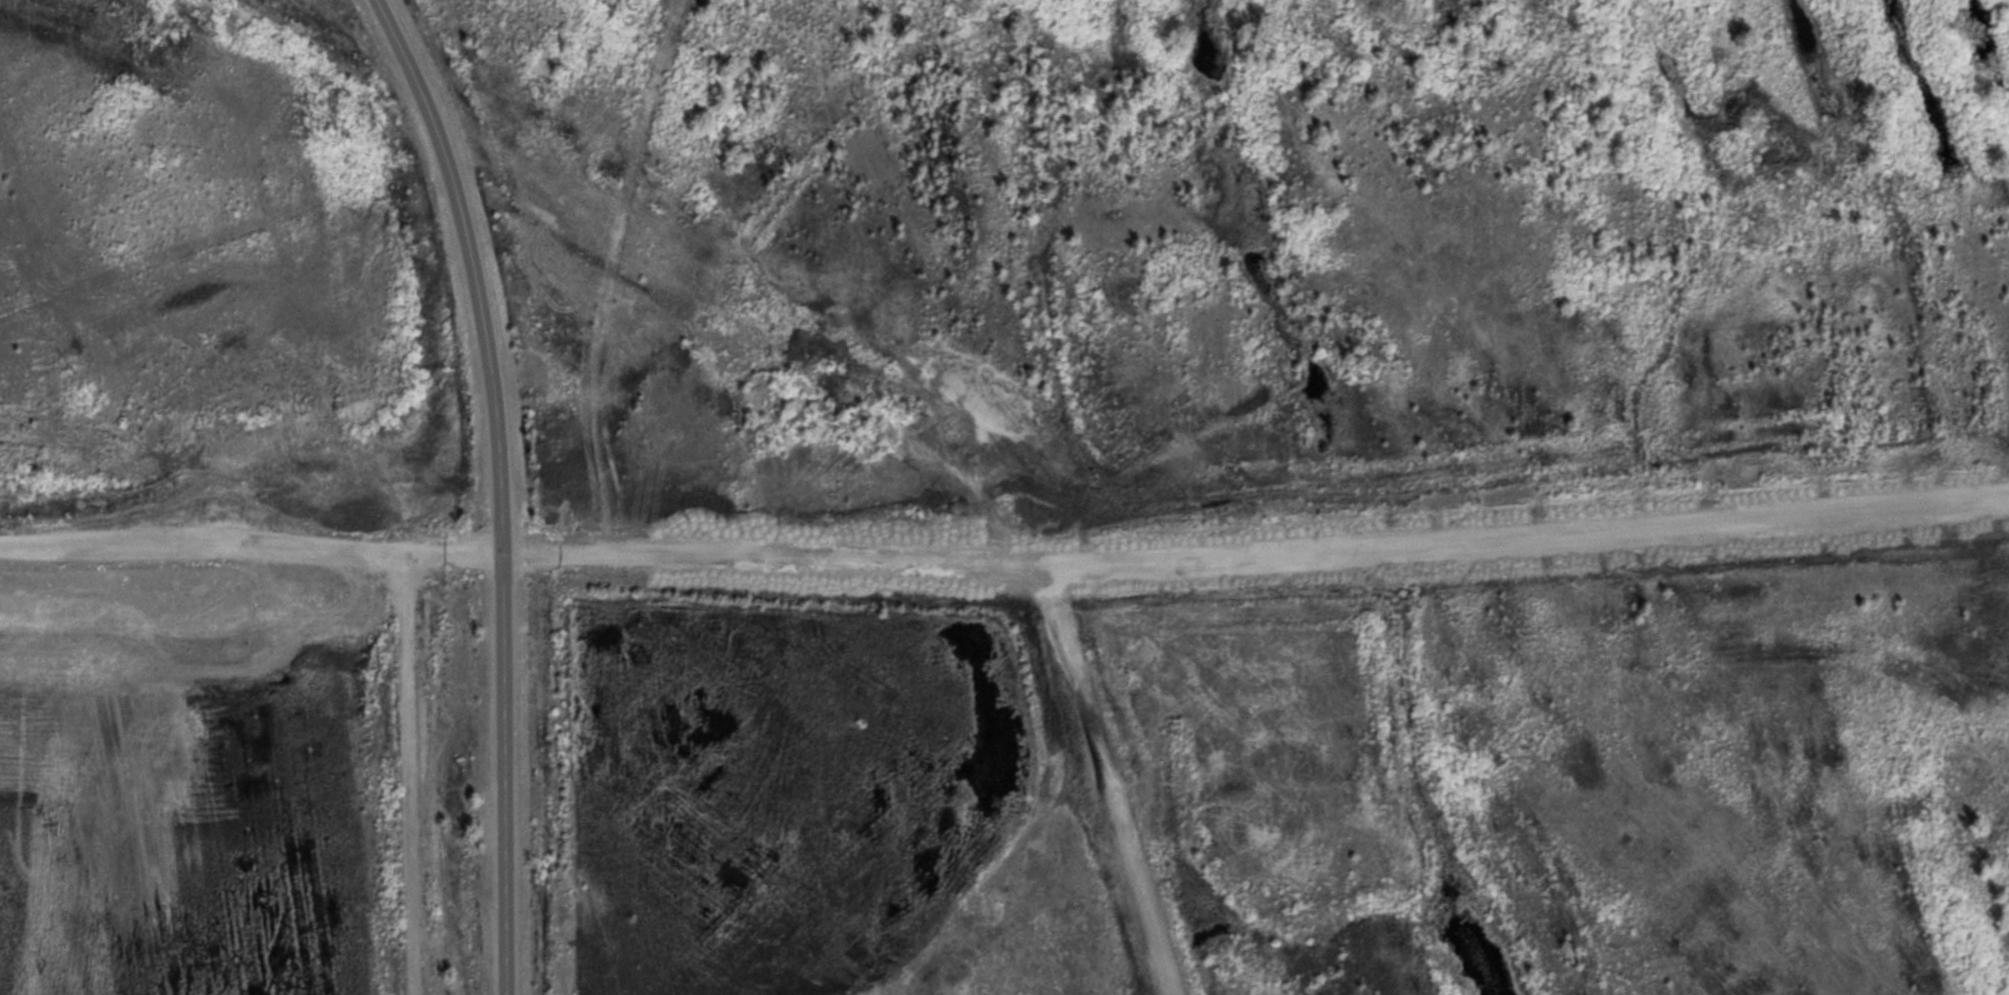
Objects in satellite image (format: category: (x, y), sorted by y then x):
road: (500, 487)
road: (1527, 530)
road: (112, 550)
road: (997, 565)

